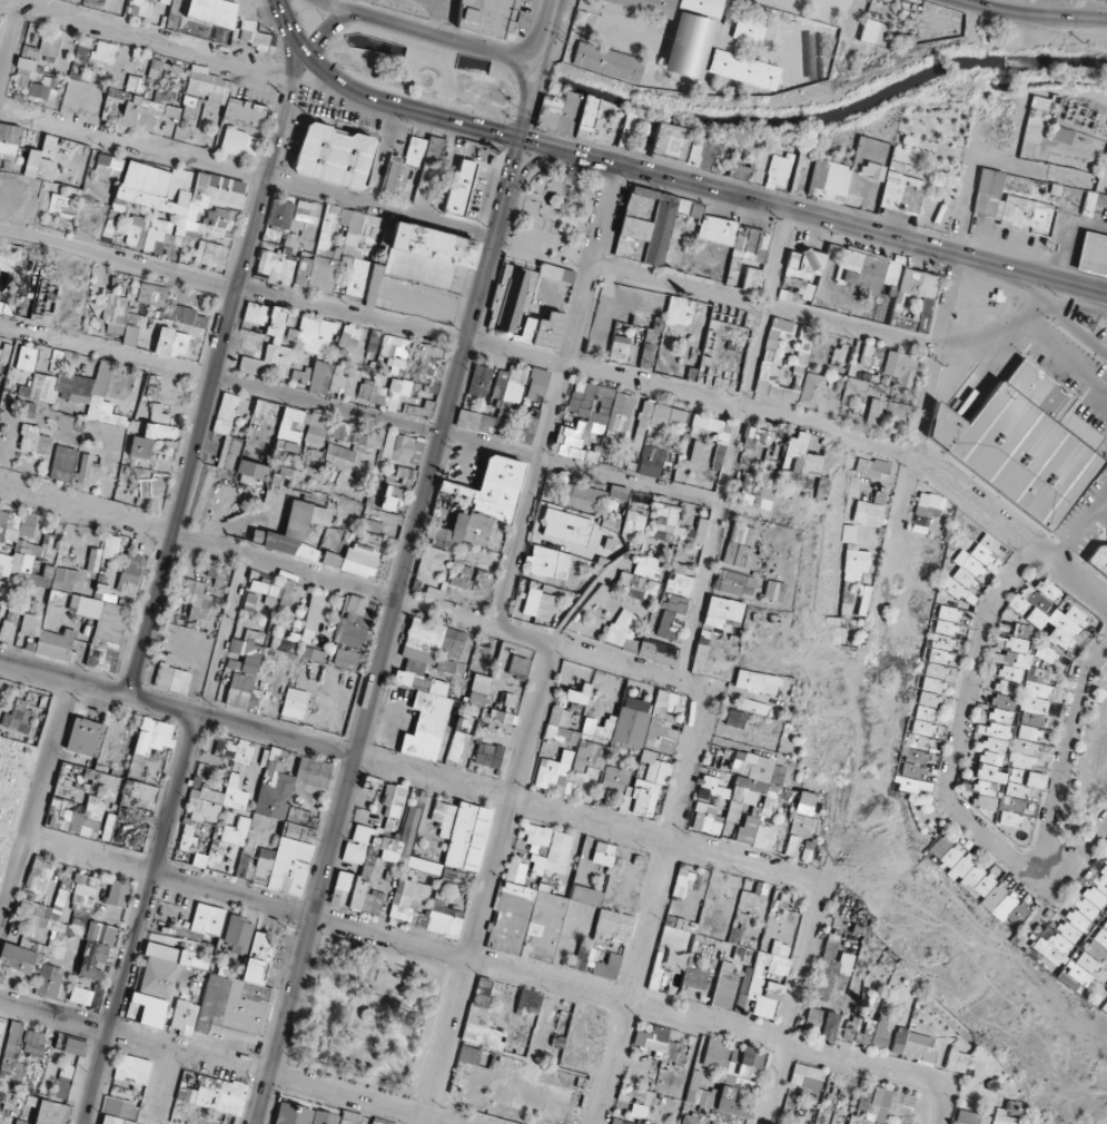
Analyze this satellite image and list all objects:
park: (424, 71)
park: (552, 208)
parking lot: (1073, 373)
parking lot: (1103, 461)
parking lot: (1089, 526)
park: (11, 782)
park: (366, 1017)

